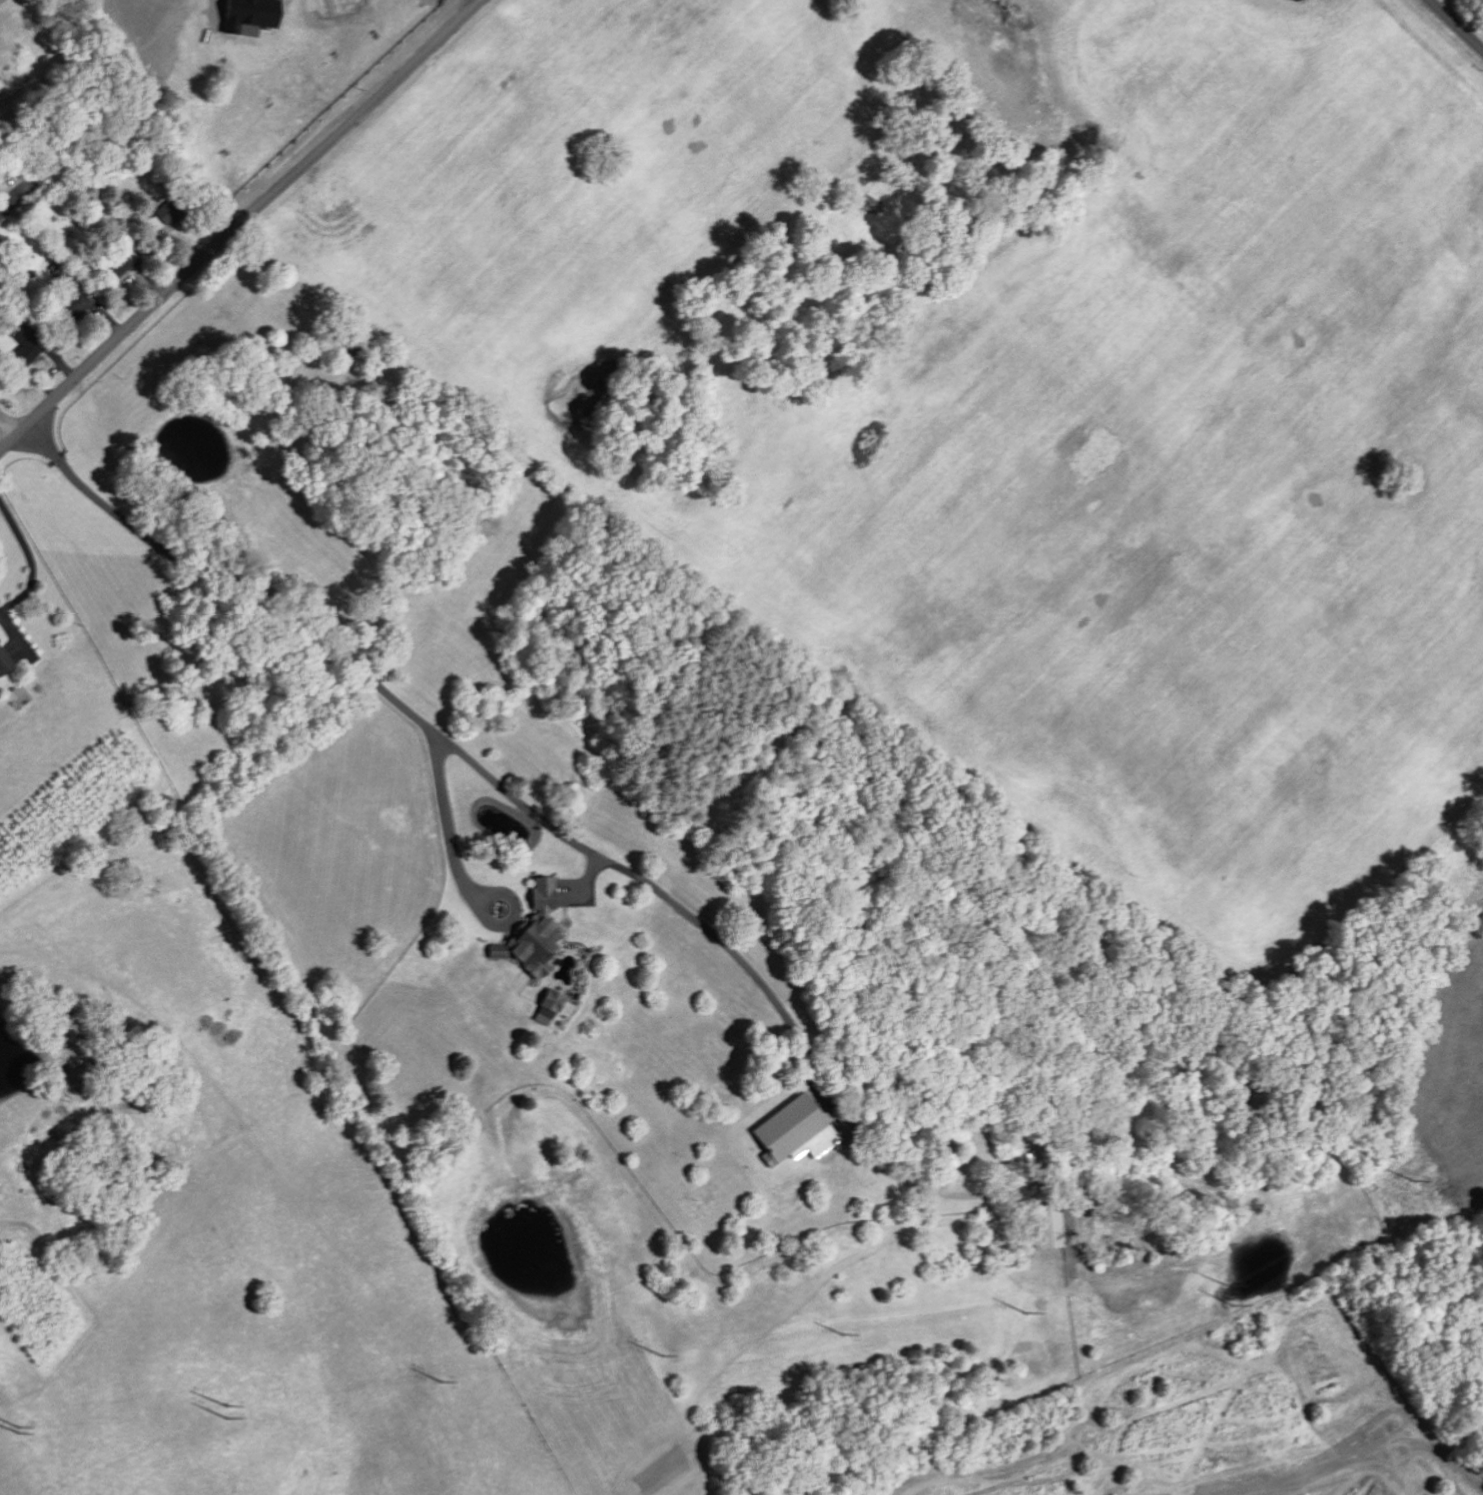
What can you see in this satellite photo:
road: (1457, 24)
road: (239, 227)
building: (120, 262)
building: (76, 302)
building: (23, 345)
road: (8, 430)
road: (28, 558)
road: (309, 639)
building: (4, 662)
road: (634, 874)
building: (533, 932)
building: (546, 1005)
building: (794, 1129)
building: (1050, 1226)

